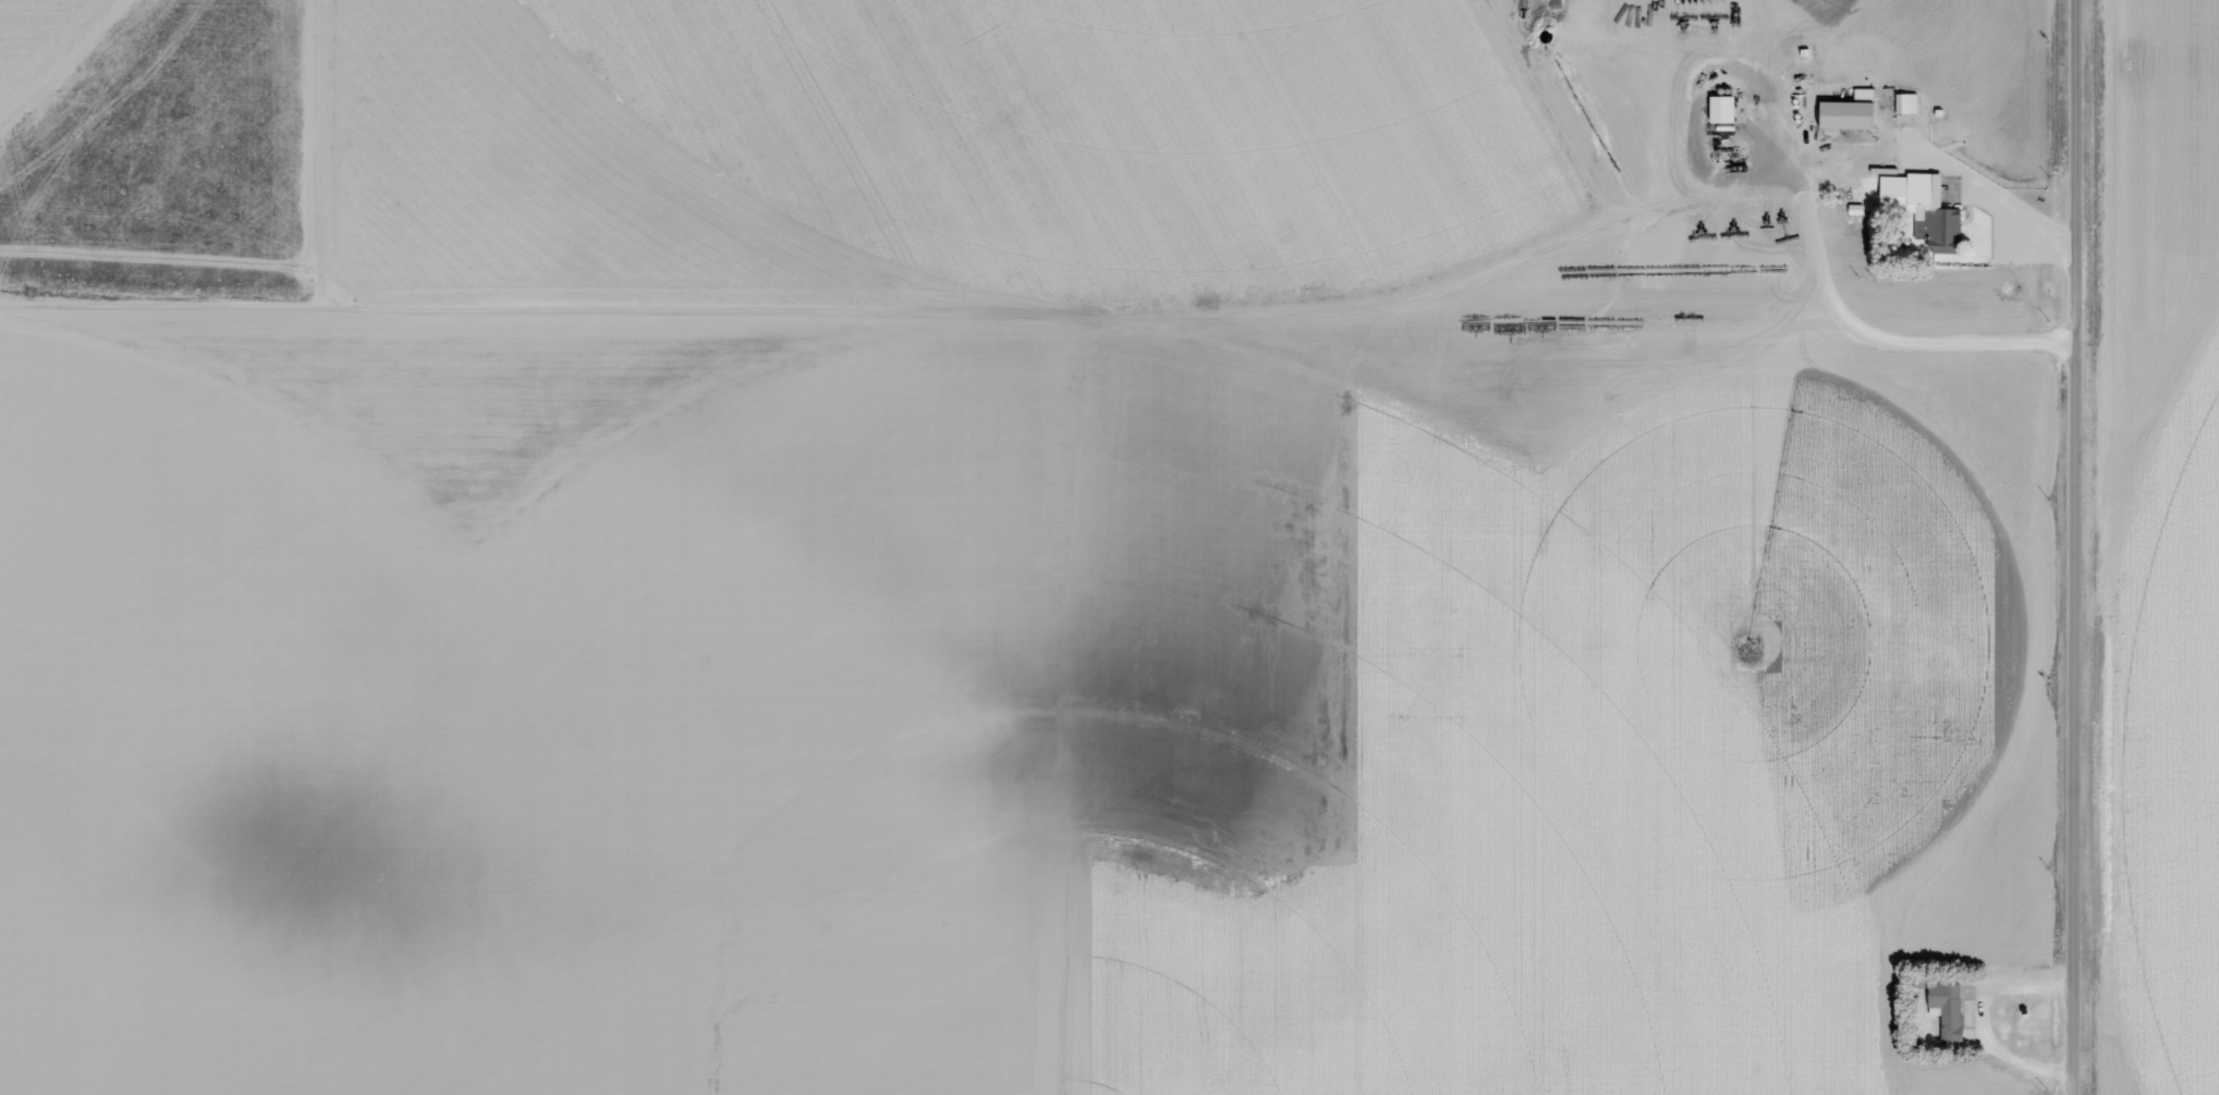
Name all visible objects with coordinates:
building: (1905, 103)
building: (1722, 109)
building: (1850, 111)
building: (1923, 208)
road: (1813, 222)
road: (2035, 288)
road: (2070, 546)
building: (1946, 1007)

